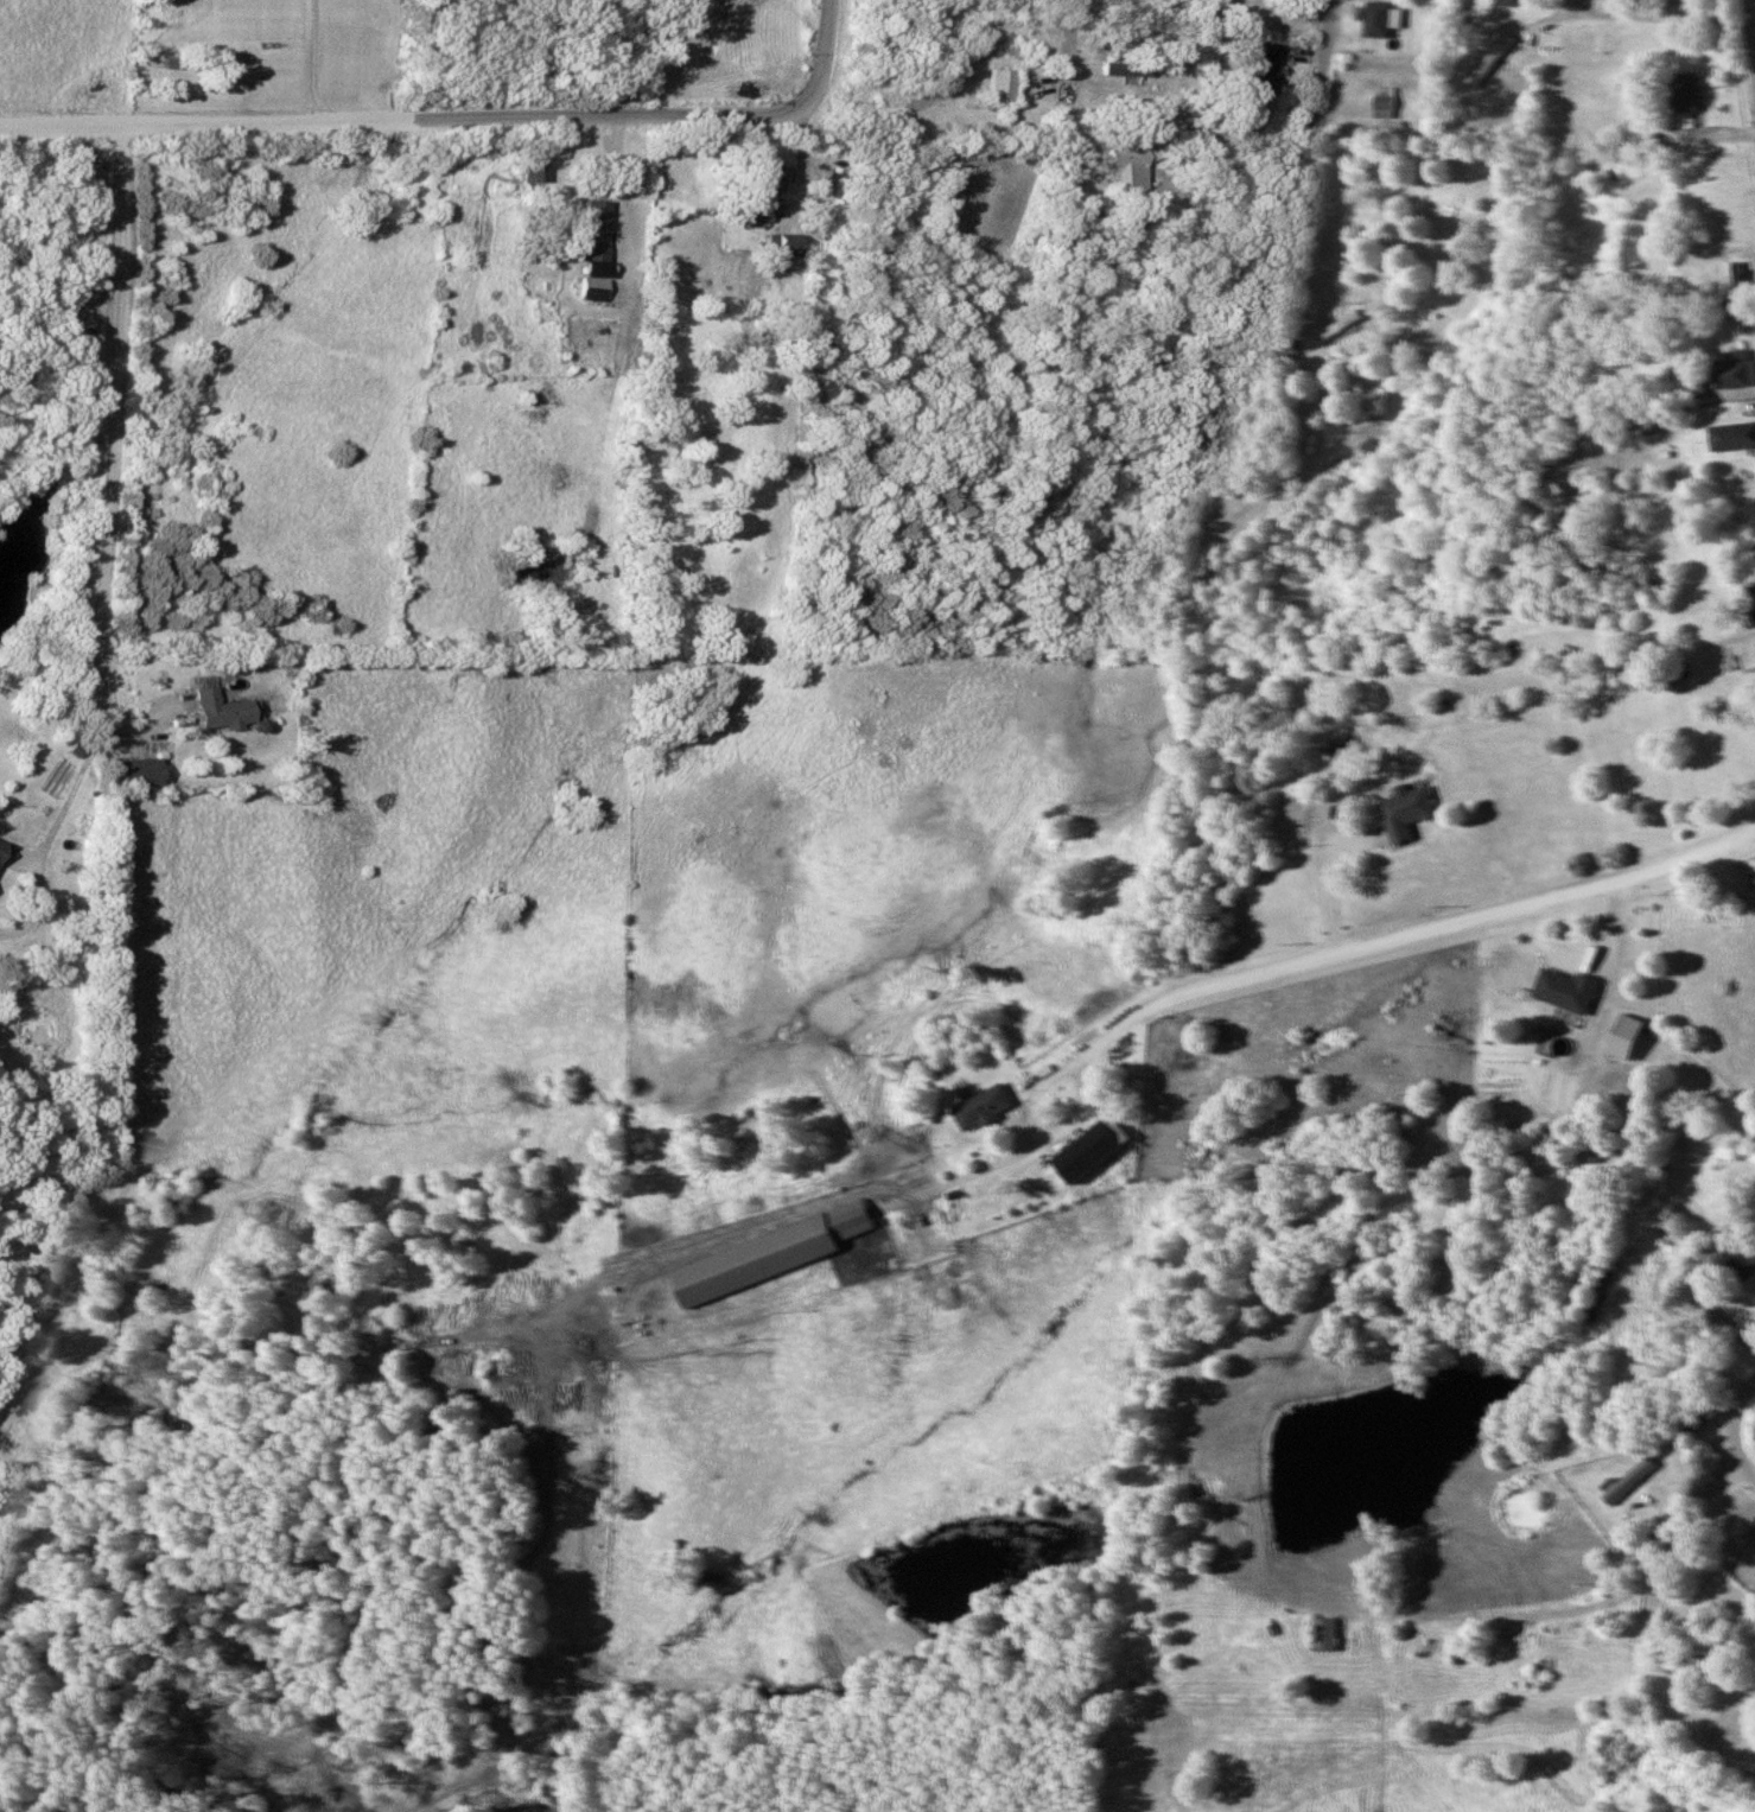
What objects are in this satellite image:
building: (1507, 2)
building: (1610, 4)
building: (1293, 6)
building: (1681, 6)
building: (1119, 8)
building: (1380, 18)
road: (1658, 19)
road: (1069, 38)
building: (1488, 58)
road: (820, 63)
building: (1259, 69)
road: (1325, 71)
building: (996, 84)
building: (1685, 91)
building: (1384, 101)
road: (393, 122)
building: (1381, 129)
building: (528, 169)
building: (1121, 169)
building: (761, 177)
building: (1718, 195)
building: (751, 211)
building: (1722, 220)
building: (590, 235)
building: (777, 246)
building: (594, 287)
building: (1734, 287)
building: (1338, 328)
building: (1732, 369)
building: (1693, 389)
building: (1731, 435)
road: (110, 551)
building: (1751, 598)
building: (214, 711)
building: (131, 773)
building: (1405, 812)
building: (1753, 883)
road: (1400, 934)
building: (1566, 990)
building: (981, 1106)
building: (1086, 1150)
building: (765, 1253)
building: (1747, 1266)
building: (1690, 1419)
road: (1748, 1473)
road: (1681, 1543)
building: (1322, 1633)

